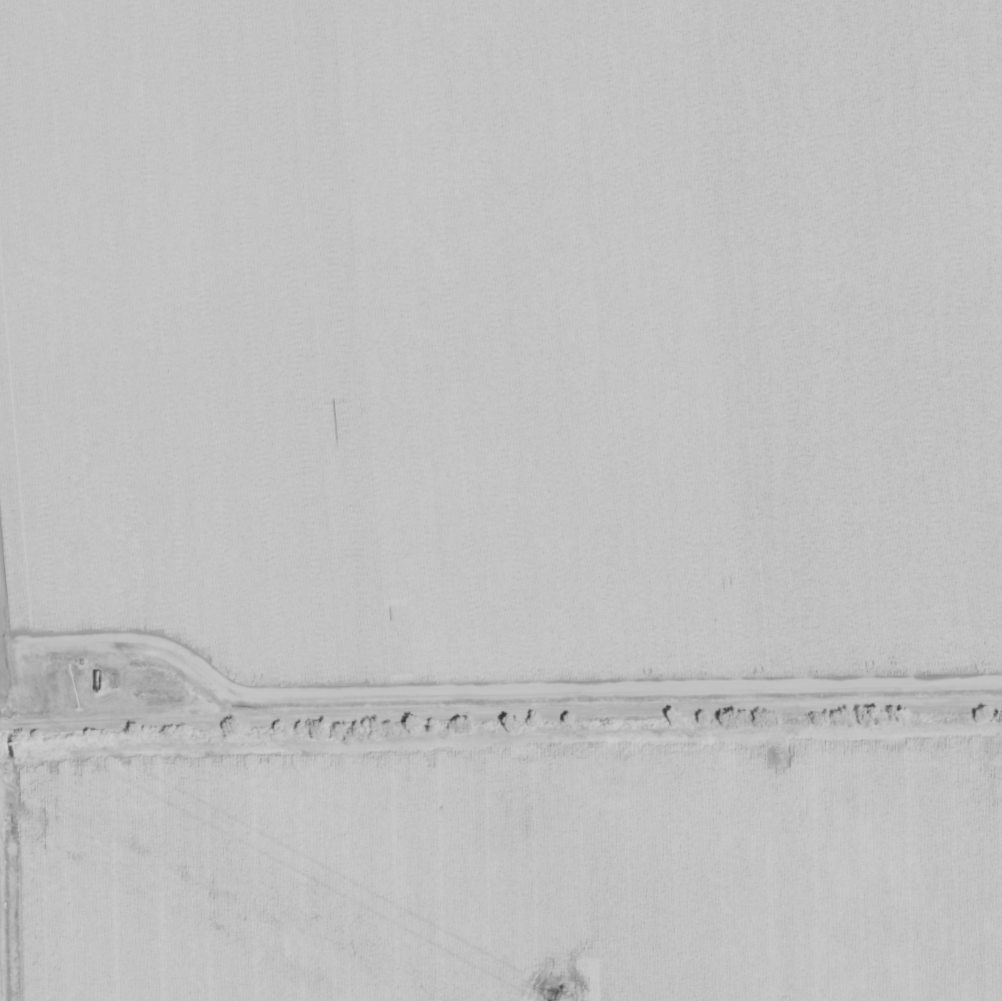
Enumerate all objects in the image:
road: (500, 694)
power tower: (560, 1000)

